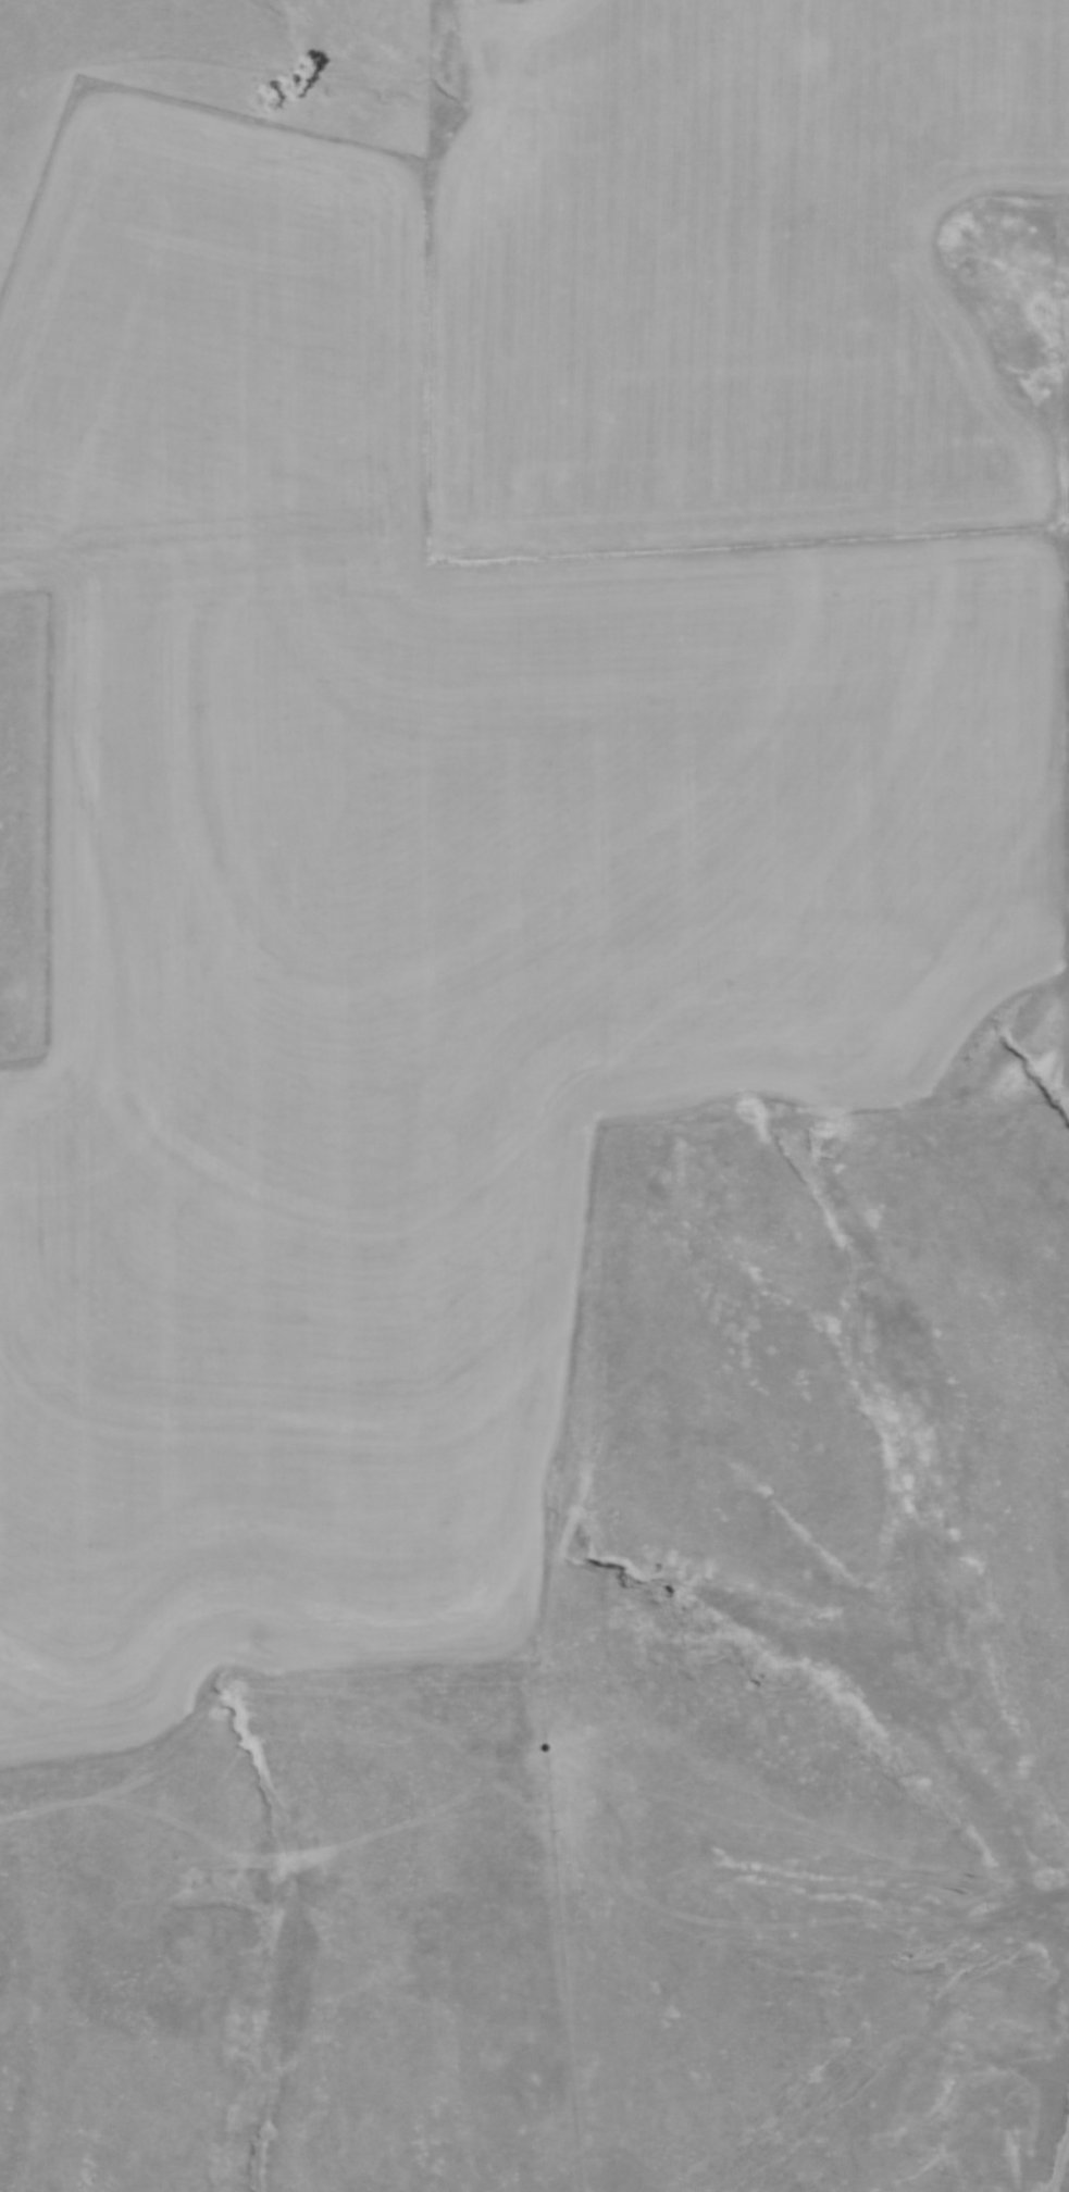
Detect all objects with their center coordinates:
crop: (729, 269)
crop: (212, 350)

